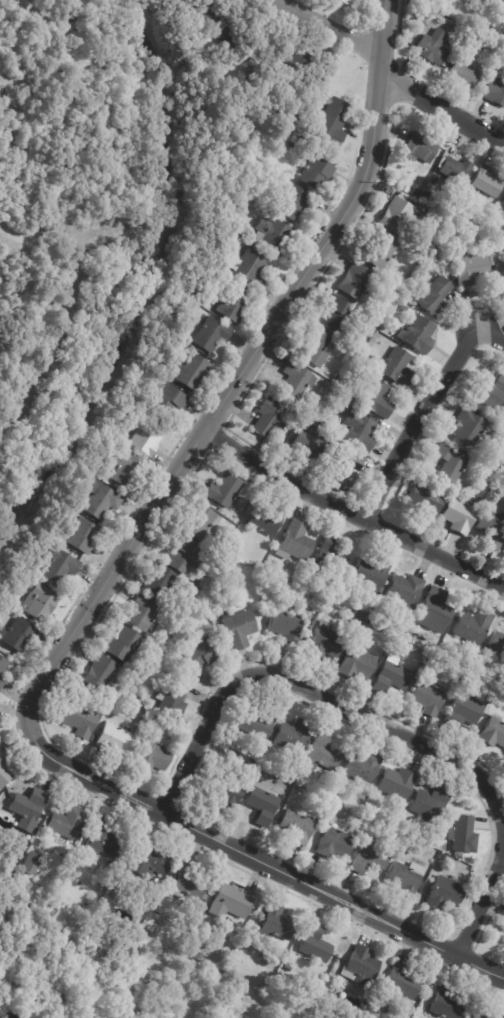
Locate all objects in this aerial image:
building: (502, 0)
building: (489, 1)
building: (349, 2)
building: (209, 10)
building: (467, 22)
road: (330, 29)
building: (235, 38)
building: (193, 39)
building: (433, 47)
building: (269, 55)
building: (300, 68)
building: (464, 74)
building: (494, 92)
road: (439, 105)
building: (280, 121)
building: (333, 122)
building: (419, 149)
building: (456, 170)
building: (315, 173)
building: (487, 183)
building: (294, 201)
building: (503, 203)
building: (396, 216)
building: (460, 218)
building: (437, 220)
building: (272, 235)
park: (100, 236)
building: (379, 254)
building: (473, 268)
building: (248, 270)
building: (357, 282)
building: (502, 282)
building: (434, 296)
building: (232, 305)
building: (338, 316)
building: (211, 335)
building: (419, 336)
road: (489, 336)
building: (314, 348)
building: (397, 368)
building: (190, 372)
road: (241, 374)
building: (296, 382)
building: (490, 393)
building: (375, 399)
building: (166, 403)
building: (343, 405)
building: (270, 419)
building: (337, 419)
road: (417, 421)
building: (332, 426)
building: (470, 430)
building: (358, 432)
building: (335, 433)
building: (146, 439)
building: (309, 442)
building: (450, 465)
building: (345, 468)
building: (124, 470)
building: (334, 486)
building: (224, 491)
building: (101, 501)
building: (427, 501)
road: (352, 511)
building: (458, 517)
building: (235, 518)
building: (265, 520)
building: (199, 525)
building: (491, 529)
building: (82, 538)
building: (295, 543)
building: (503, 548)
building: (186, 557)
building: (329, 559)
building: (59, 567)
building: (298, 577)
building: (371, 577)
building: (158, 584)
building: (200, 585)
building: (404, 592)
building: (334, 594)
building: (39, 604)
building: (435, 610)
building: (142, 616)
building: (361, 616)
building: (287, 626)
building: (473, 628)
building: (239, 629)
building: (400, 633)
building: (17, 636)
building: (413, 640)
building: (325, 644)
building: (497, 645)
building: (122, 647)
building: (176, 652)
building: (199, 655)
building: (448, 656)
building: (503, 661)
building: (357, 663)
building: (469, 663)
building: (3, 667)
building: (161, 668)
building: (99, 674)
building: (392, 677)
building: (419, 677)
building: (468, 678)
building: (2, 685)
building: (488, 689)
road: (316, 694)
building: (428, 699)
building: (172, 701)
building: (463, 710)
building: (80, 721)
building: (257, 726)
building: (493, 734)
building: (294, 737)
building: (113, 740)
building: (322, 754)
building: (153, 756)
building: (265, 761)
building: (250, 765)
building: (362, 769)
building: (3, 772)
building: (330, 777)
building: (397, 786)
building: (225, 791)
building: (333, 795)
building: (430, 804)
building: (261, 806)
building: (28, 808)
building: (66, 822)
building: (297, 829)
building: (463, 837)
building: (102, 841)
building: (334, 845)
building: (434, 845)
road: (257, 859)
building: (370, 859)
building: (147, 861)
building: (31, 863)
building: (112, 864)
building: (405, 879)
building: (189, 883)
building: (444, 896)
building: (231, 902)
road: (482, 902)
building: (275, 924)
building: (503, 926)
building: (314, 944)
building: (199, 956)
building: (330, 964)
park: (129, 966)
building: (360, 966)
building: (287, 968)
building: (401, 984)
building: (446, 1004)
building: (485, 1014)

